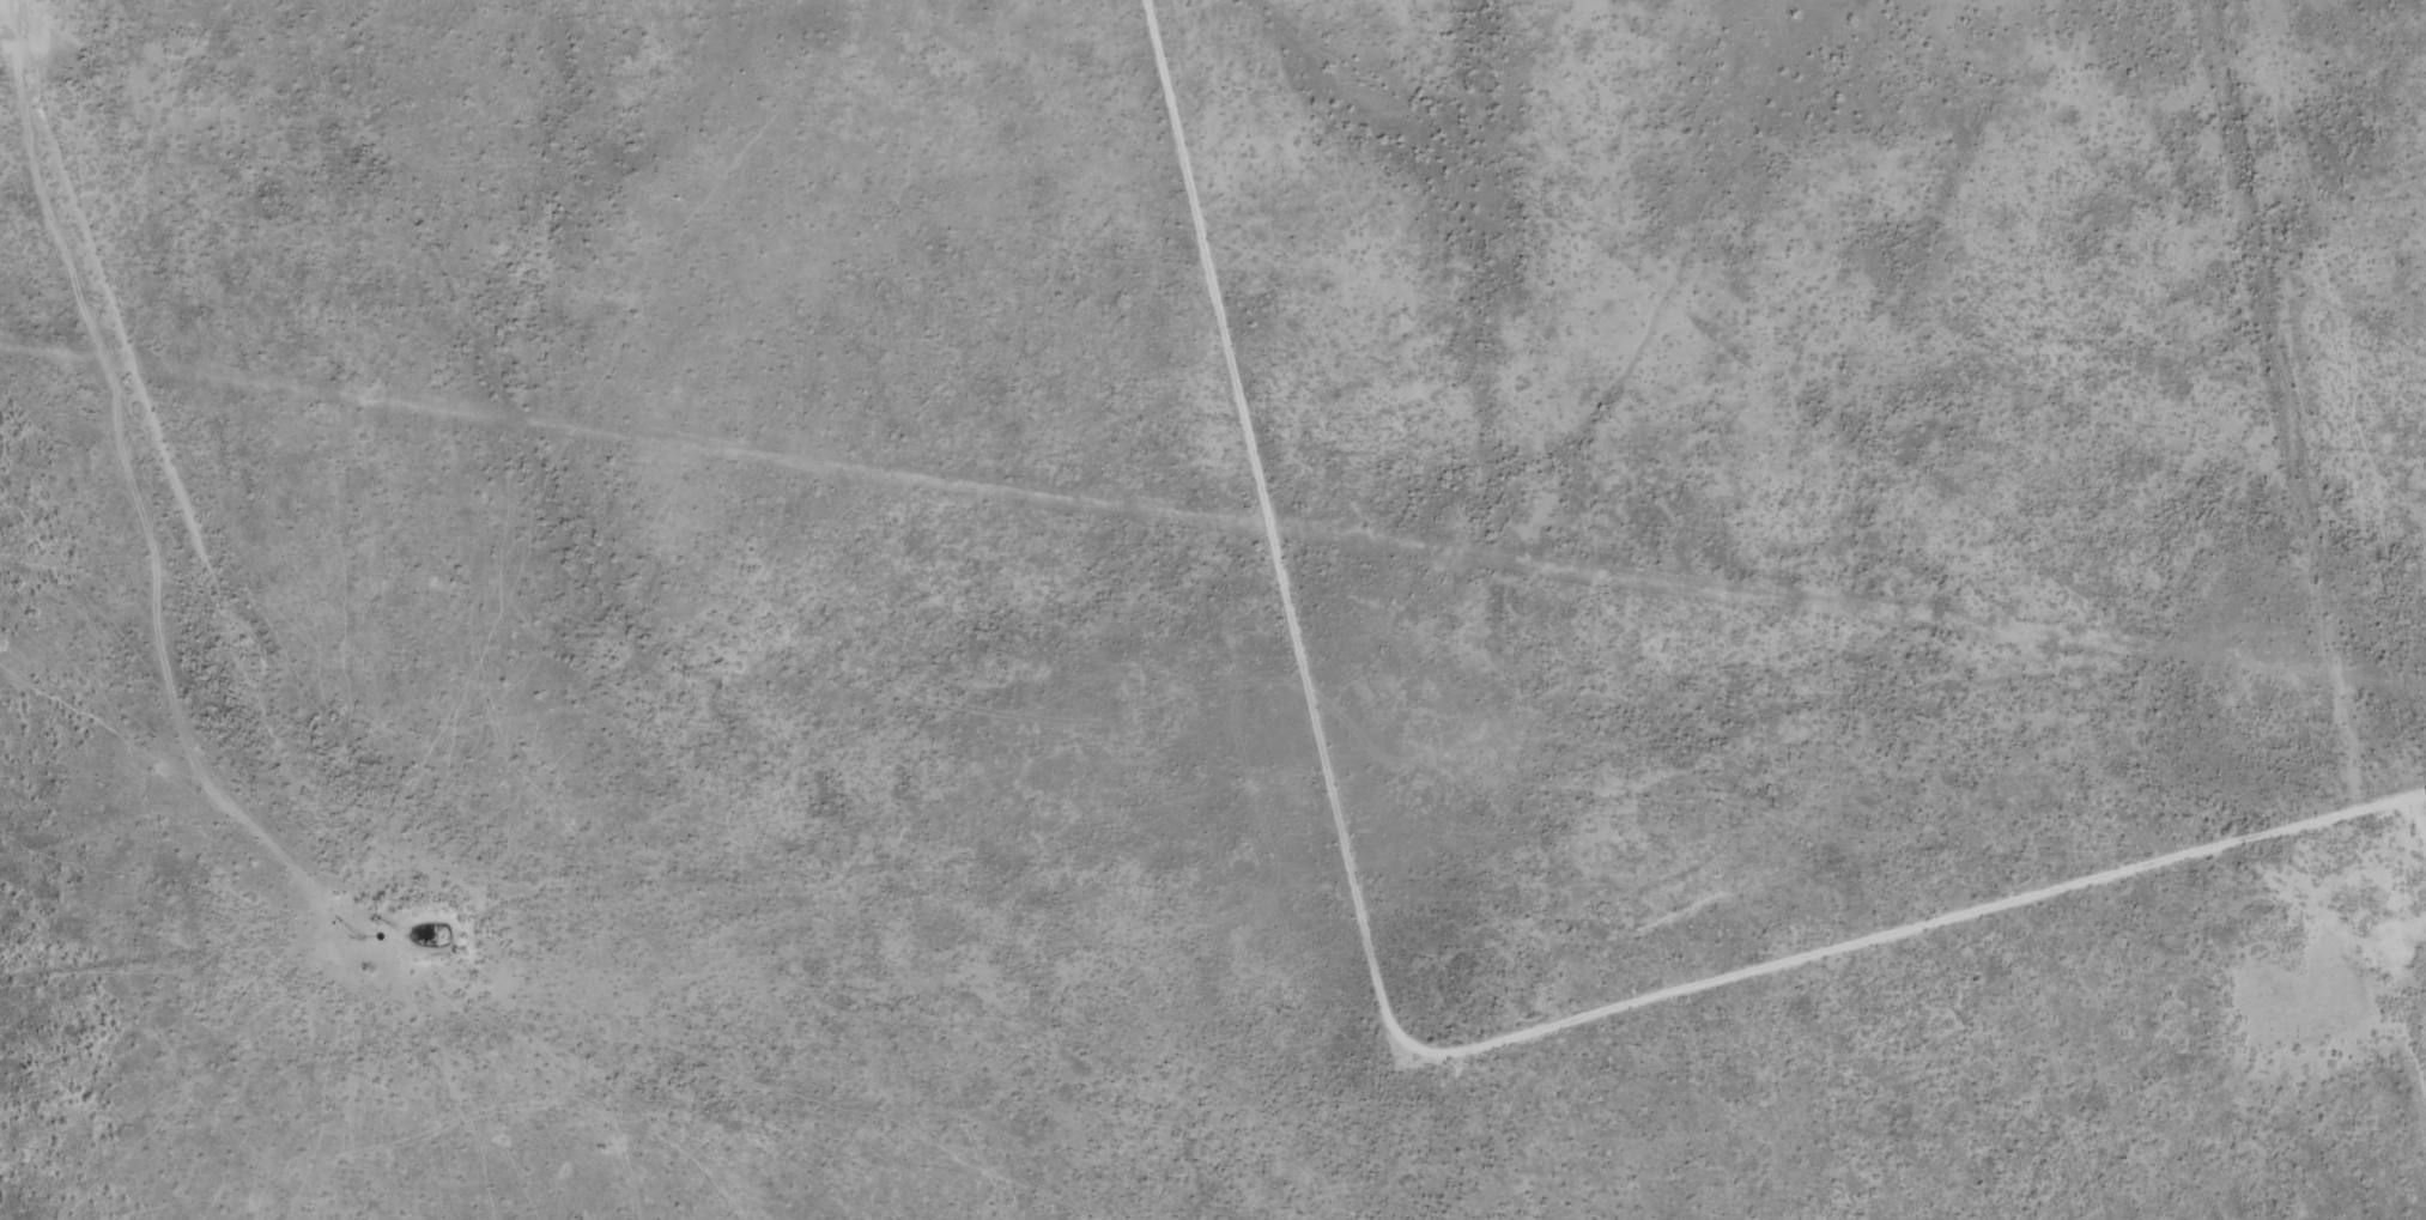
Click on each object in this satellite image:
river: (709, 678)

